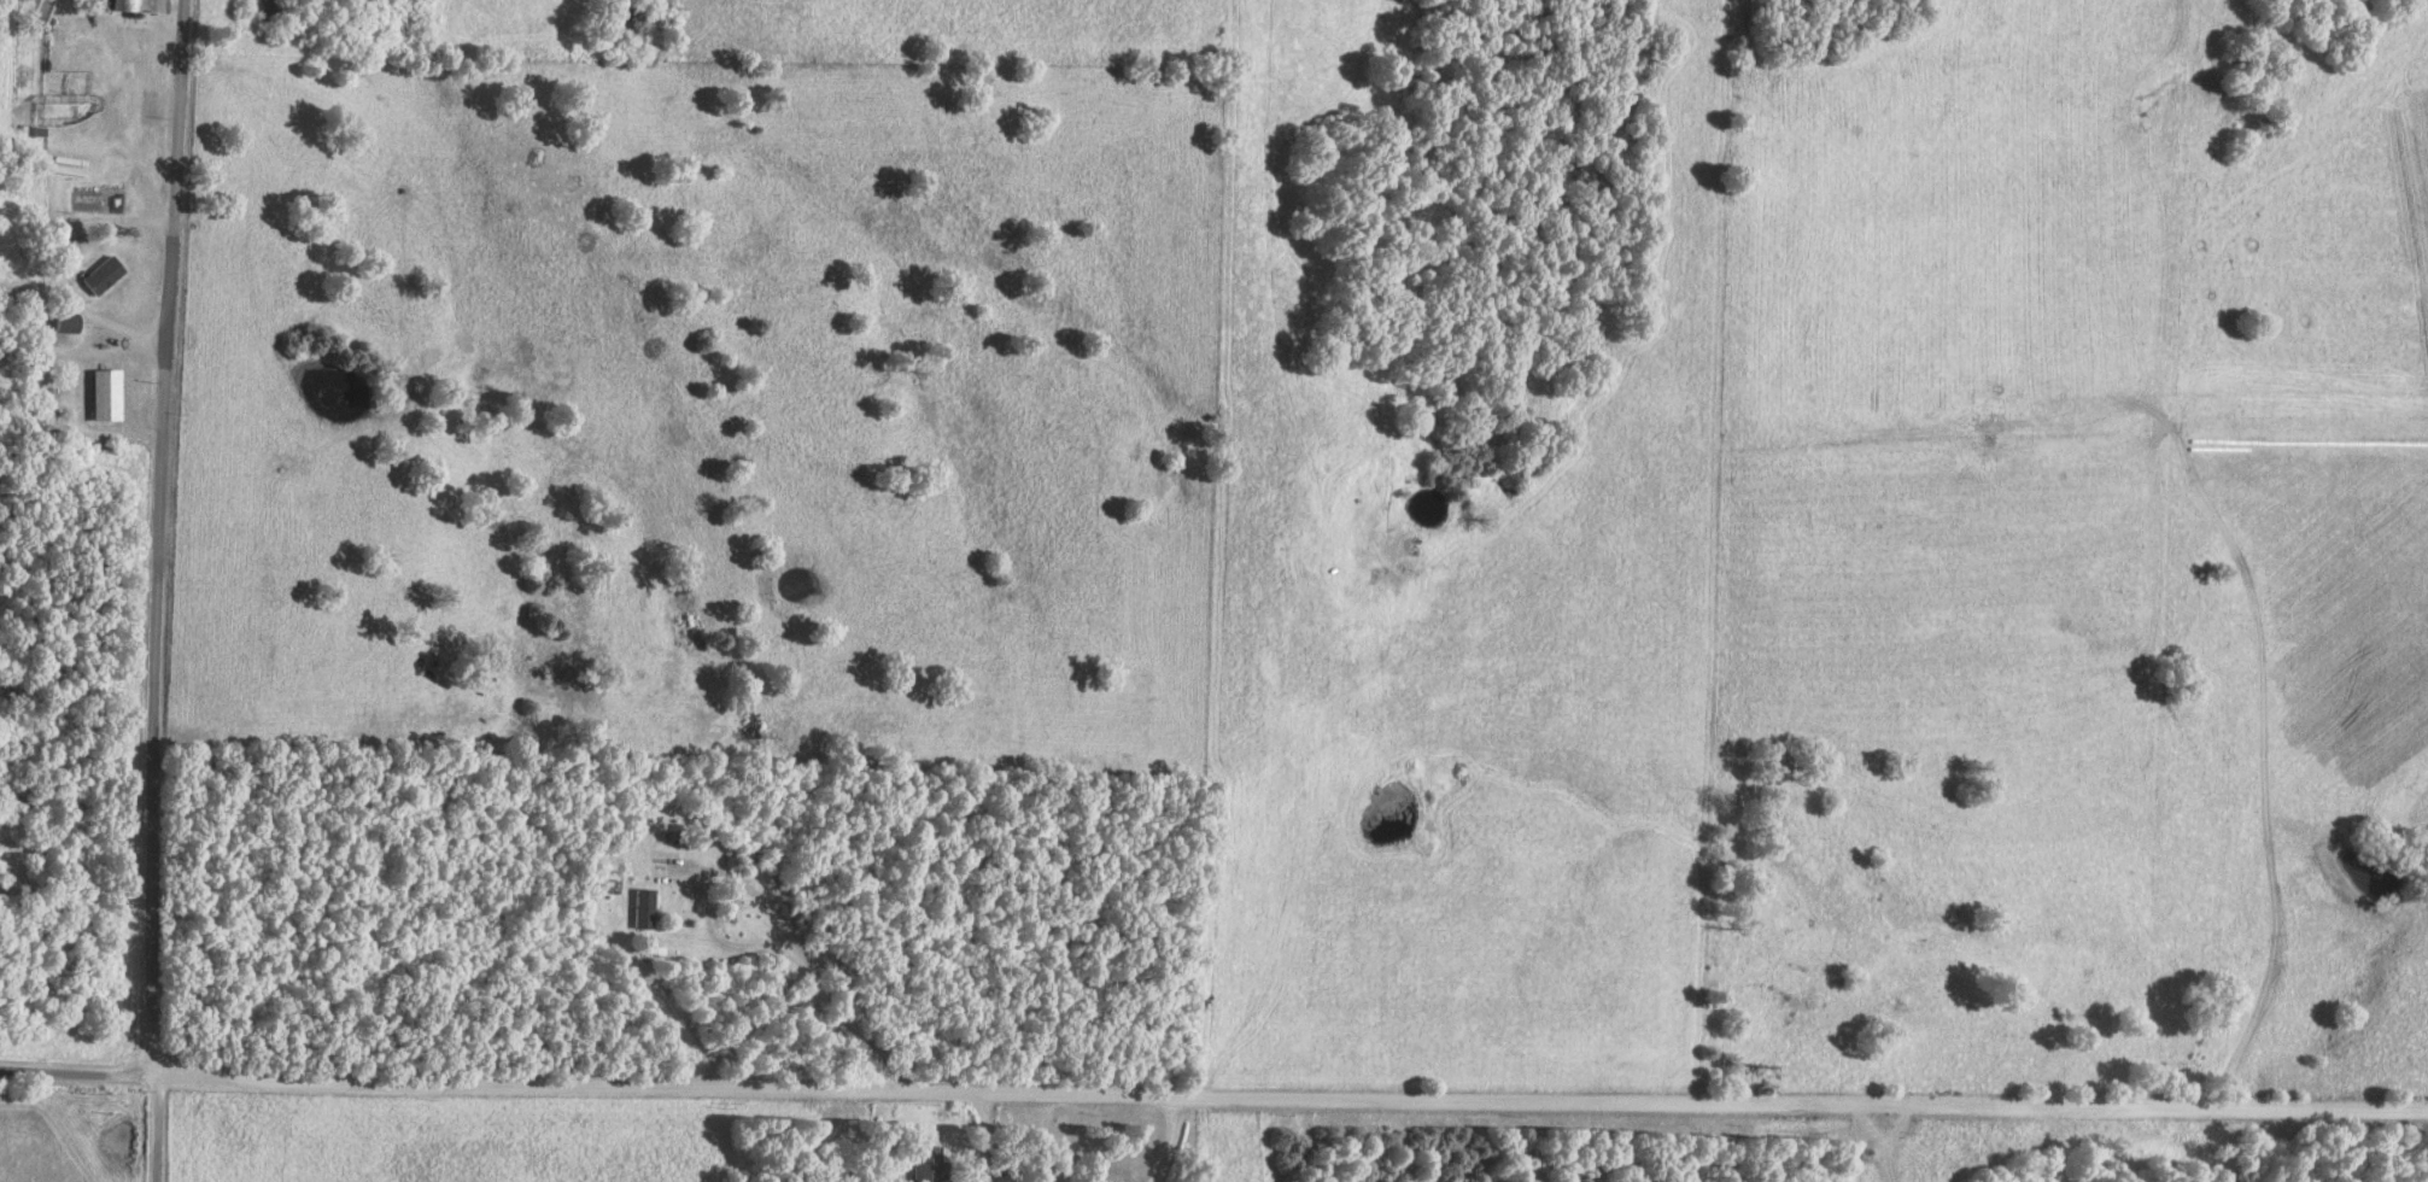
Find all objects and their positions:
building: (127, 5)
building: (104, 275)
road: (81, 303)
building: (69, 324)
building: (107, 394)
road: (153, 590)
building: (644, 908)
road: (754, 944)
road: (1213, 1099)
road: (1885, 1141)
building: (929, 1164)

